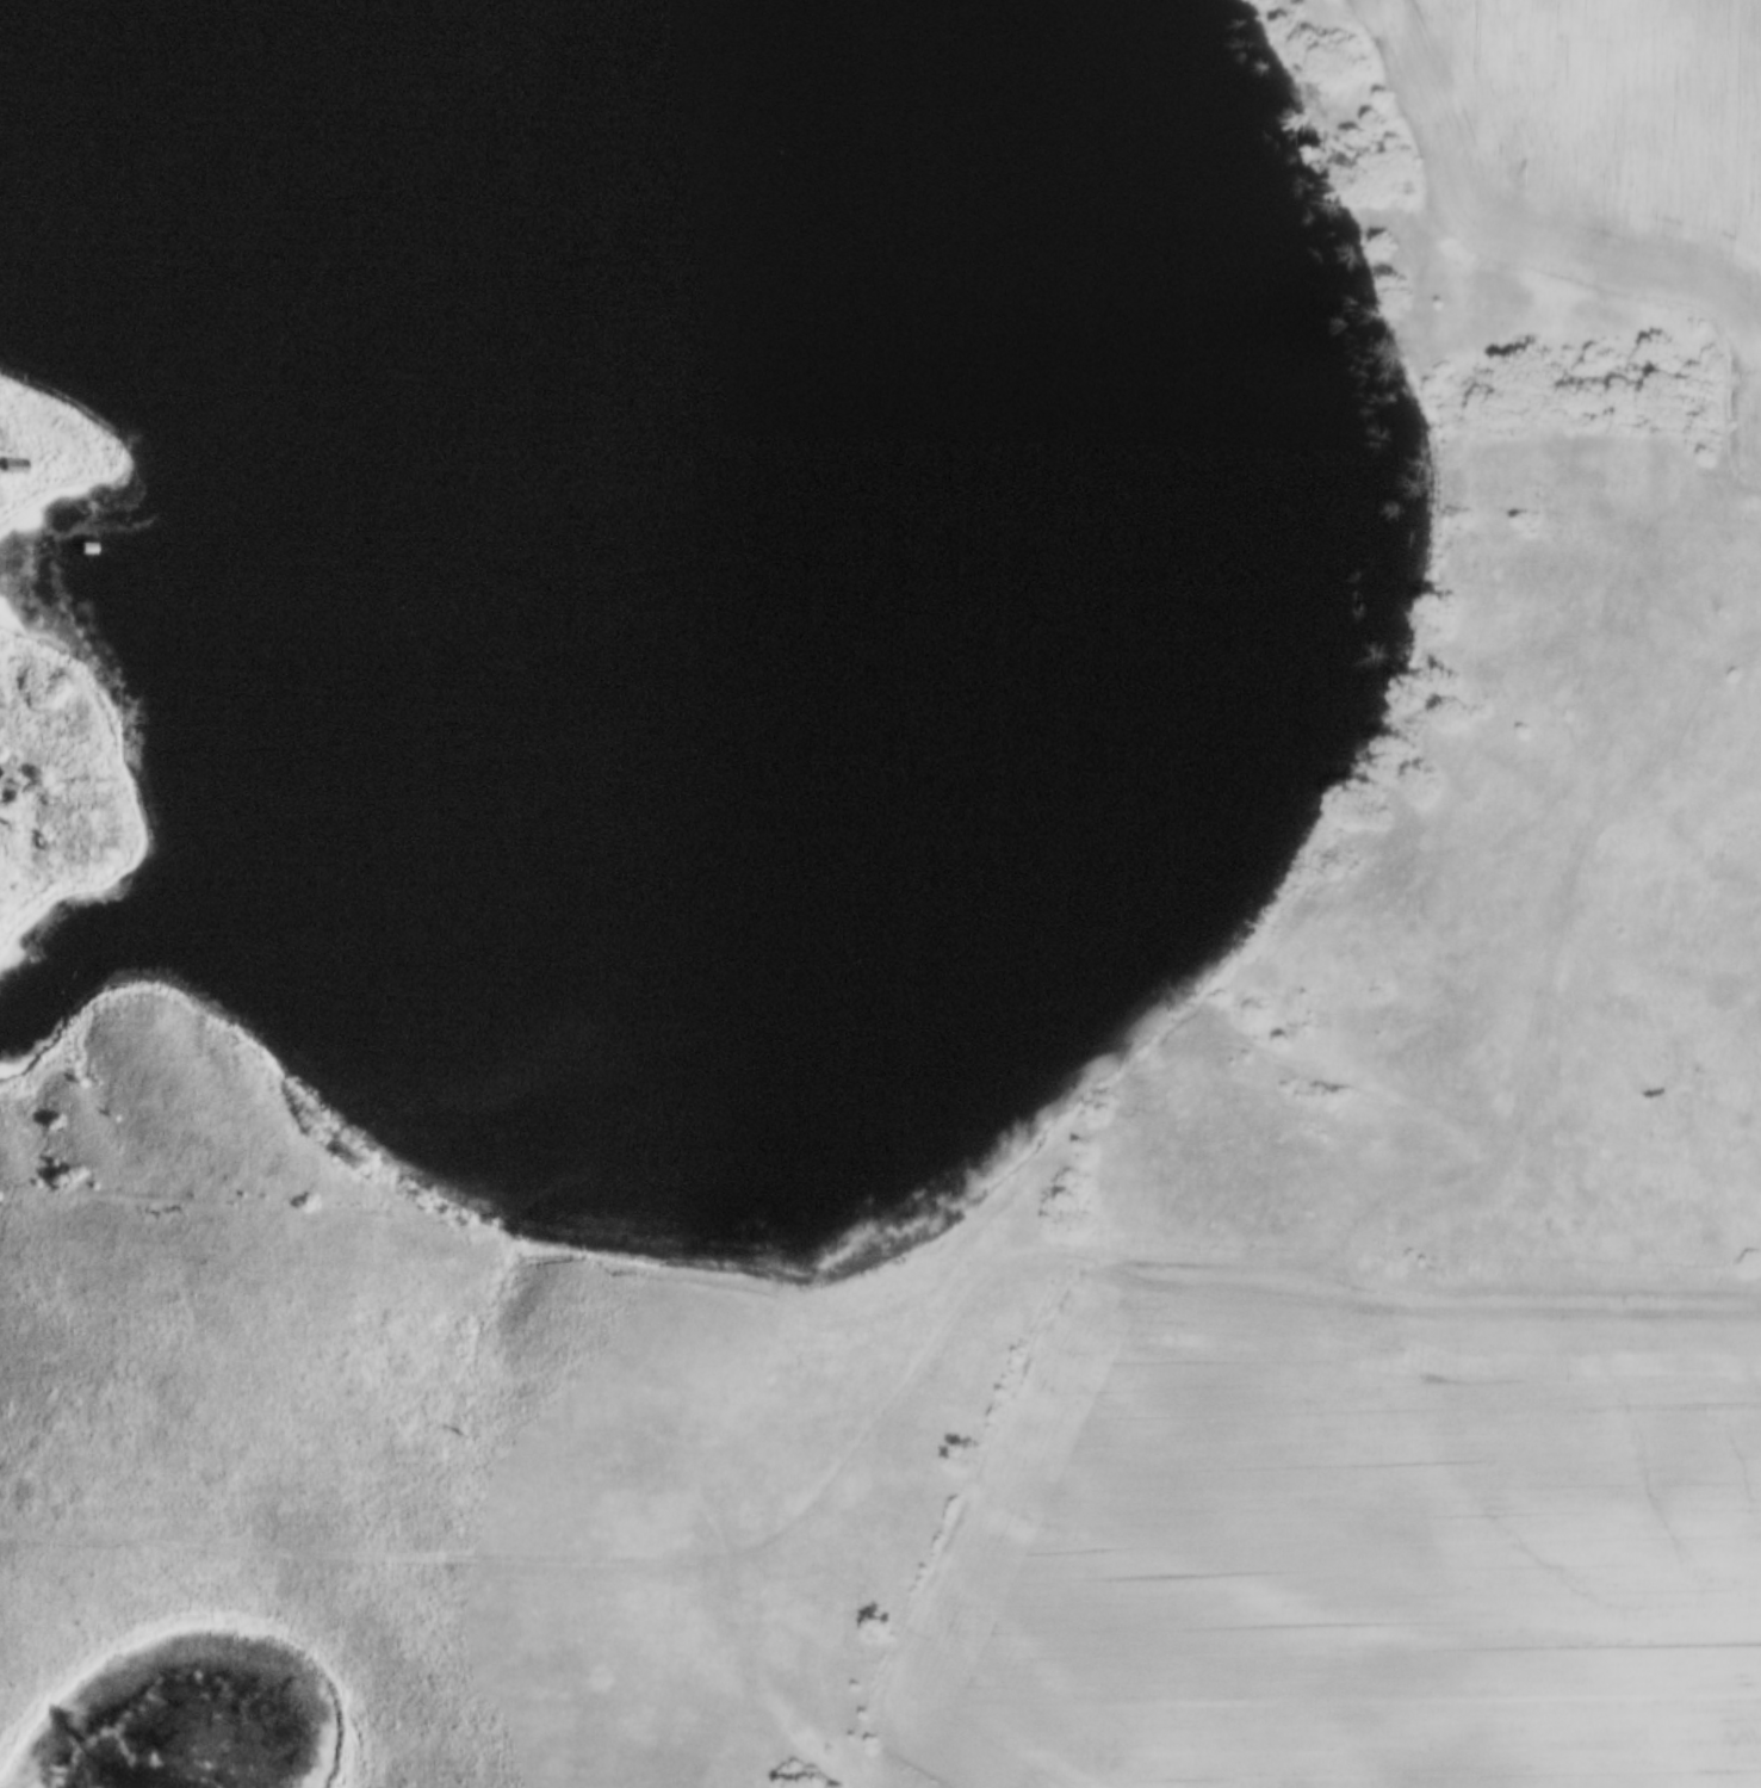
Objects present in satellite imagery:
building: (13, 464)
building: (0, 695)
building: (4, 781)

